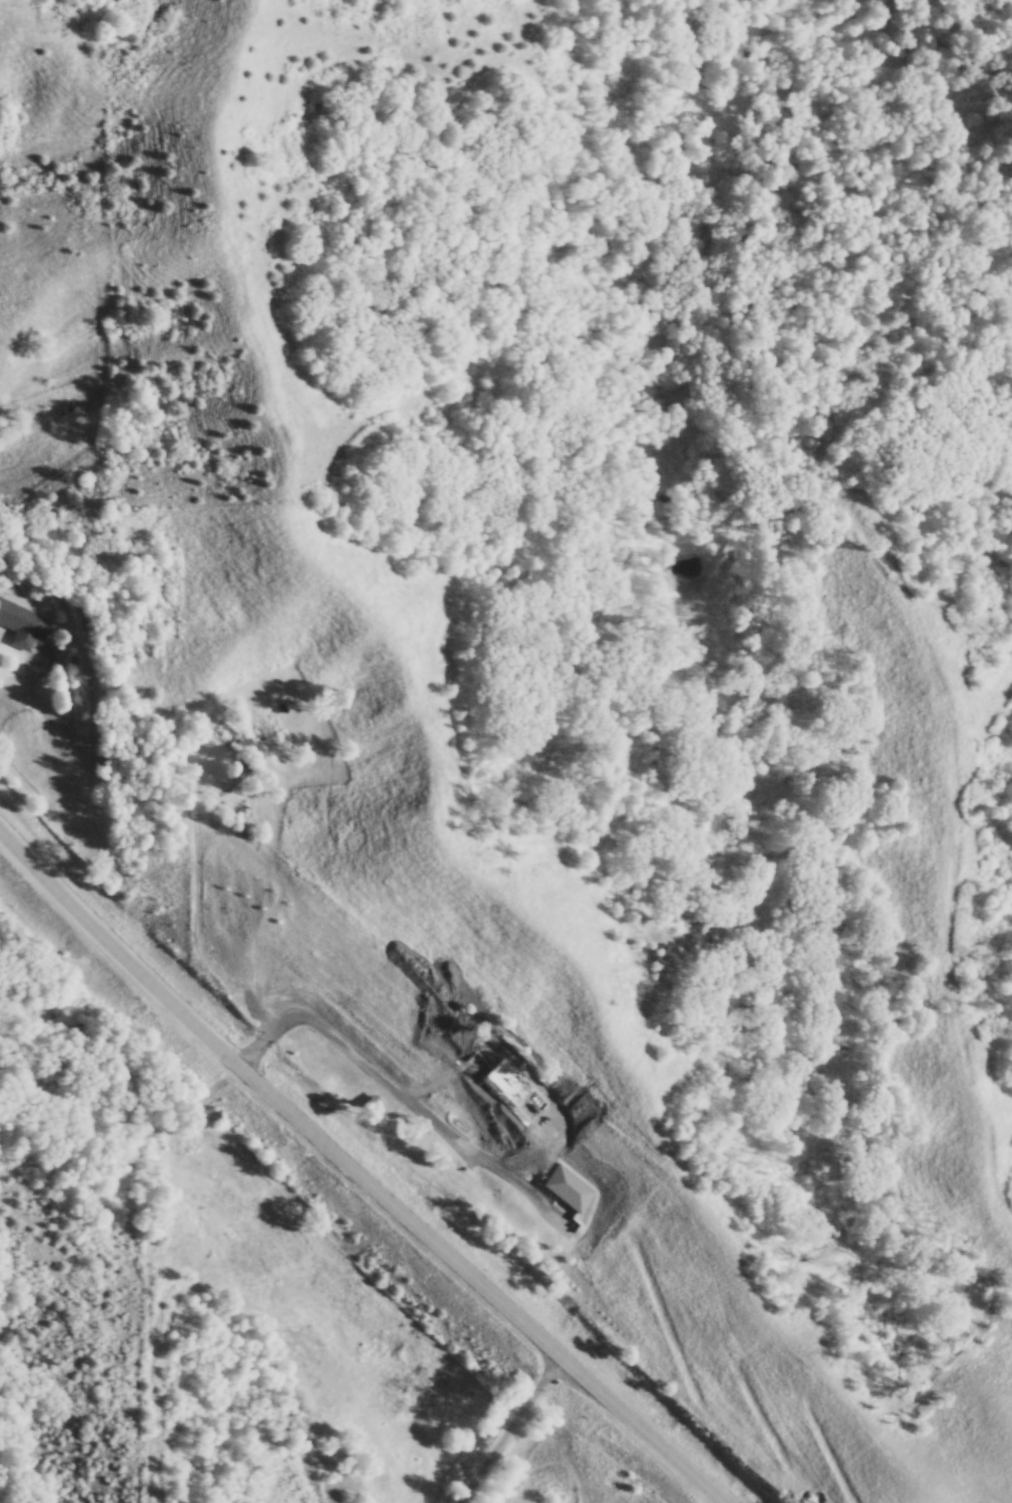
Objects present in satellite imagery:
building: (23, 620)
road: (391, 1092)
road: (343, 1174)
road: (501, 1432)

